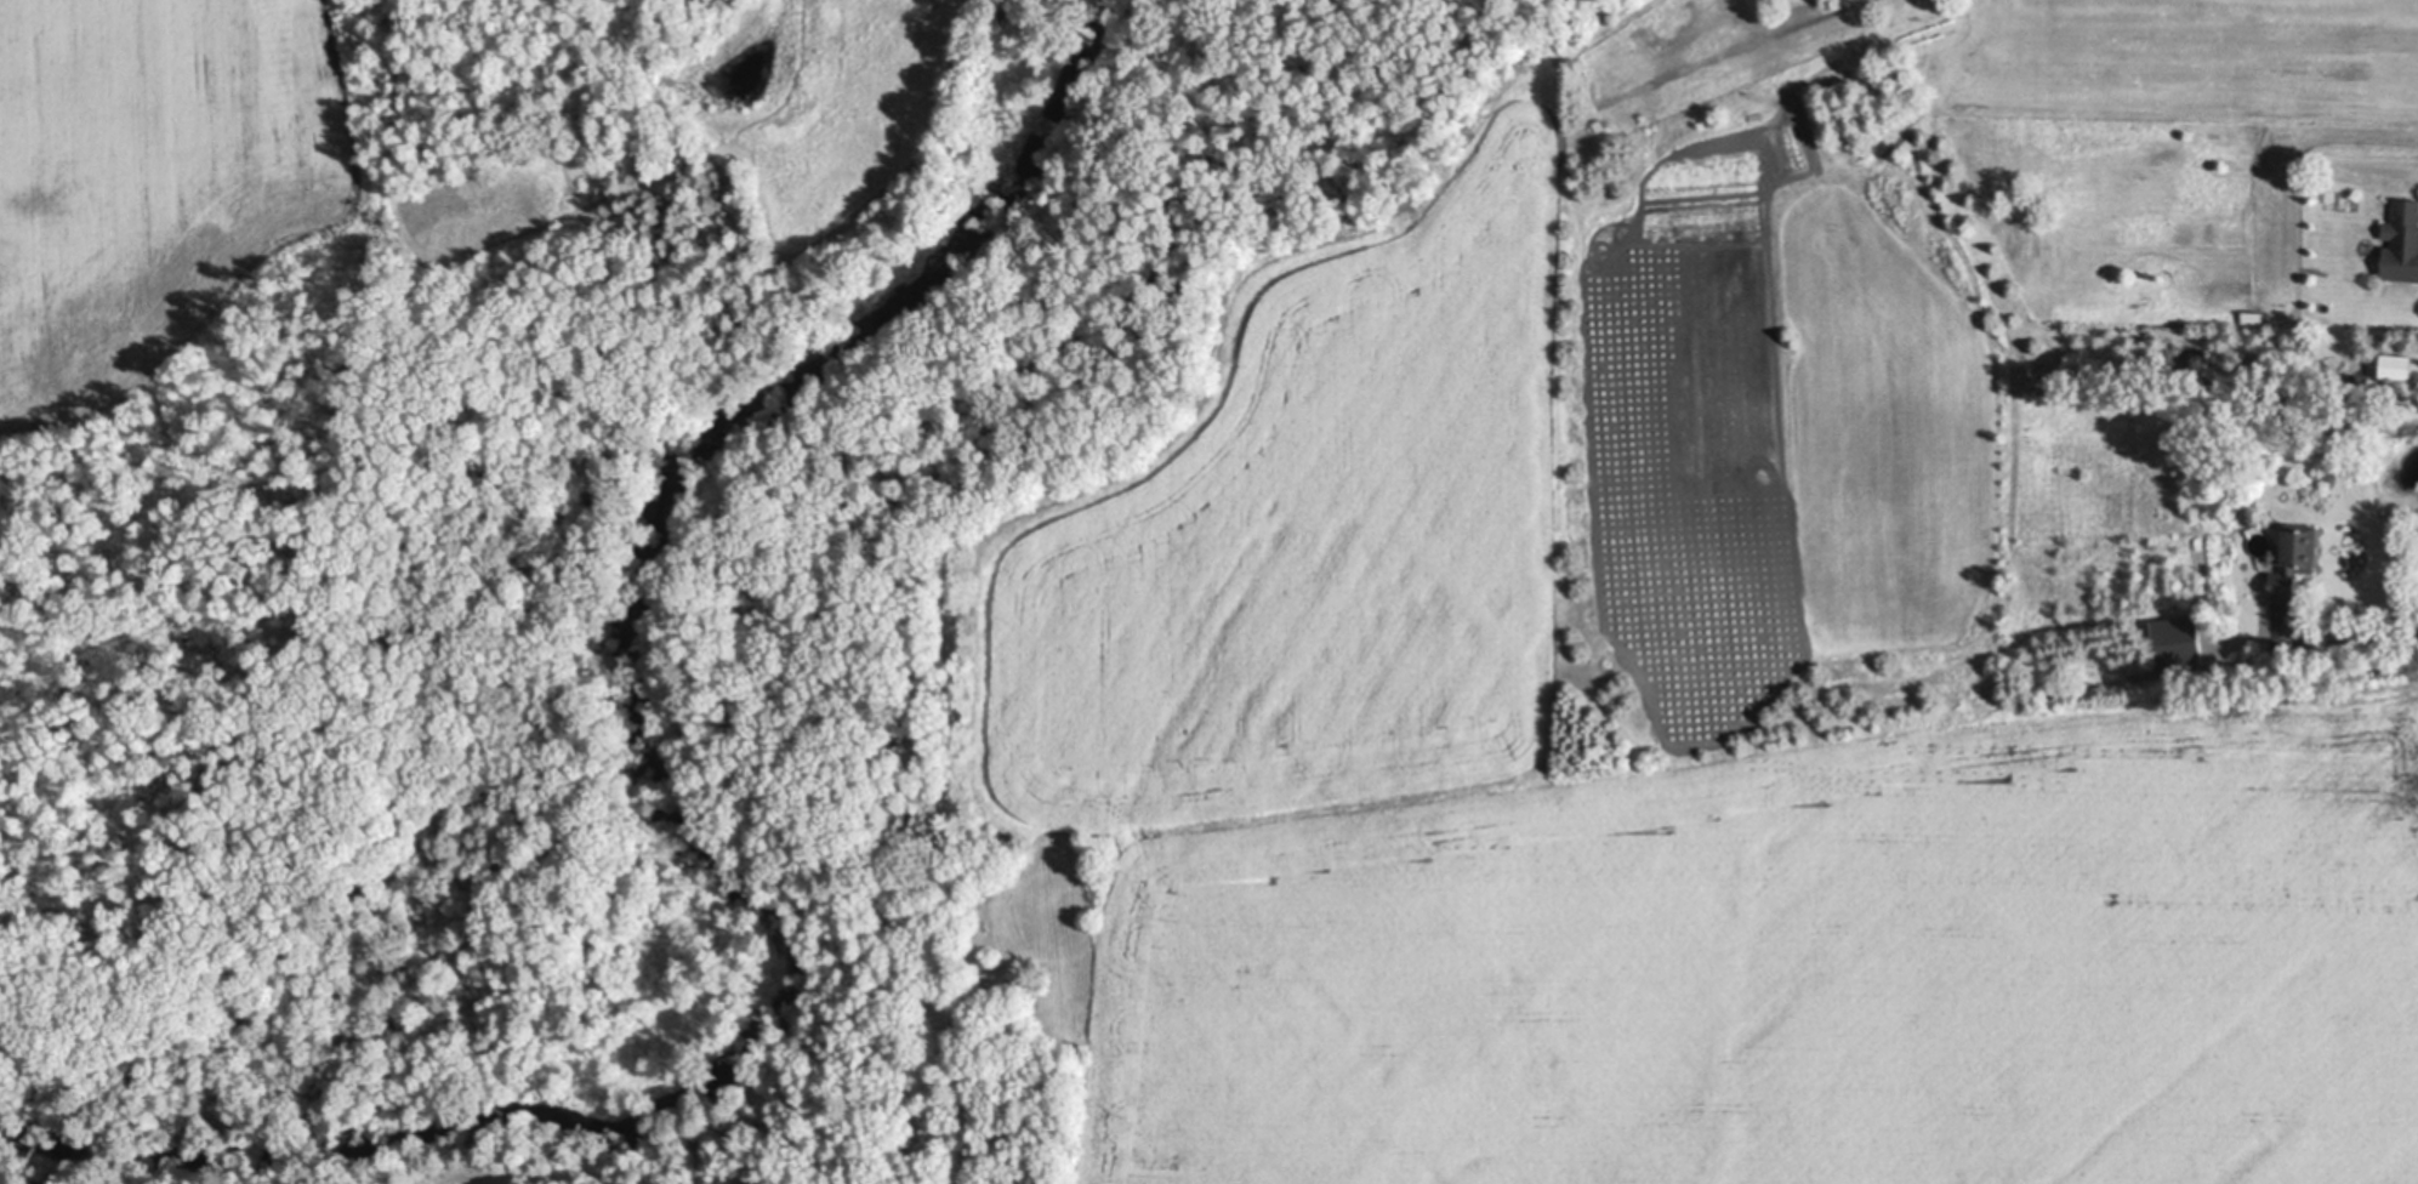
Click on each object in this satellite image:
building: (1794, 8)
building: (2402, 241)
building: (2253, 317)
building: (2401, 366)
building: (2343, 433)
building: (2327, 438)
building: (2294, 559)
road: (2351, 628)
building: (2178, 644)
river: (710, 816)

